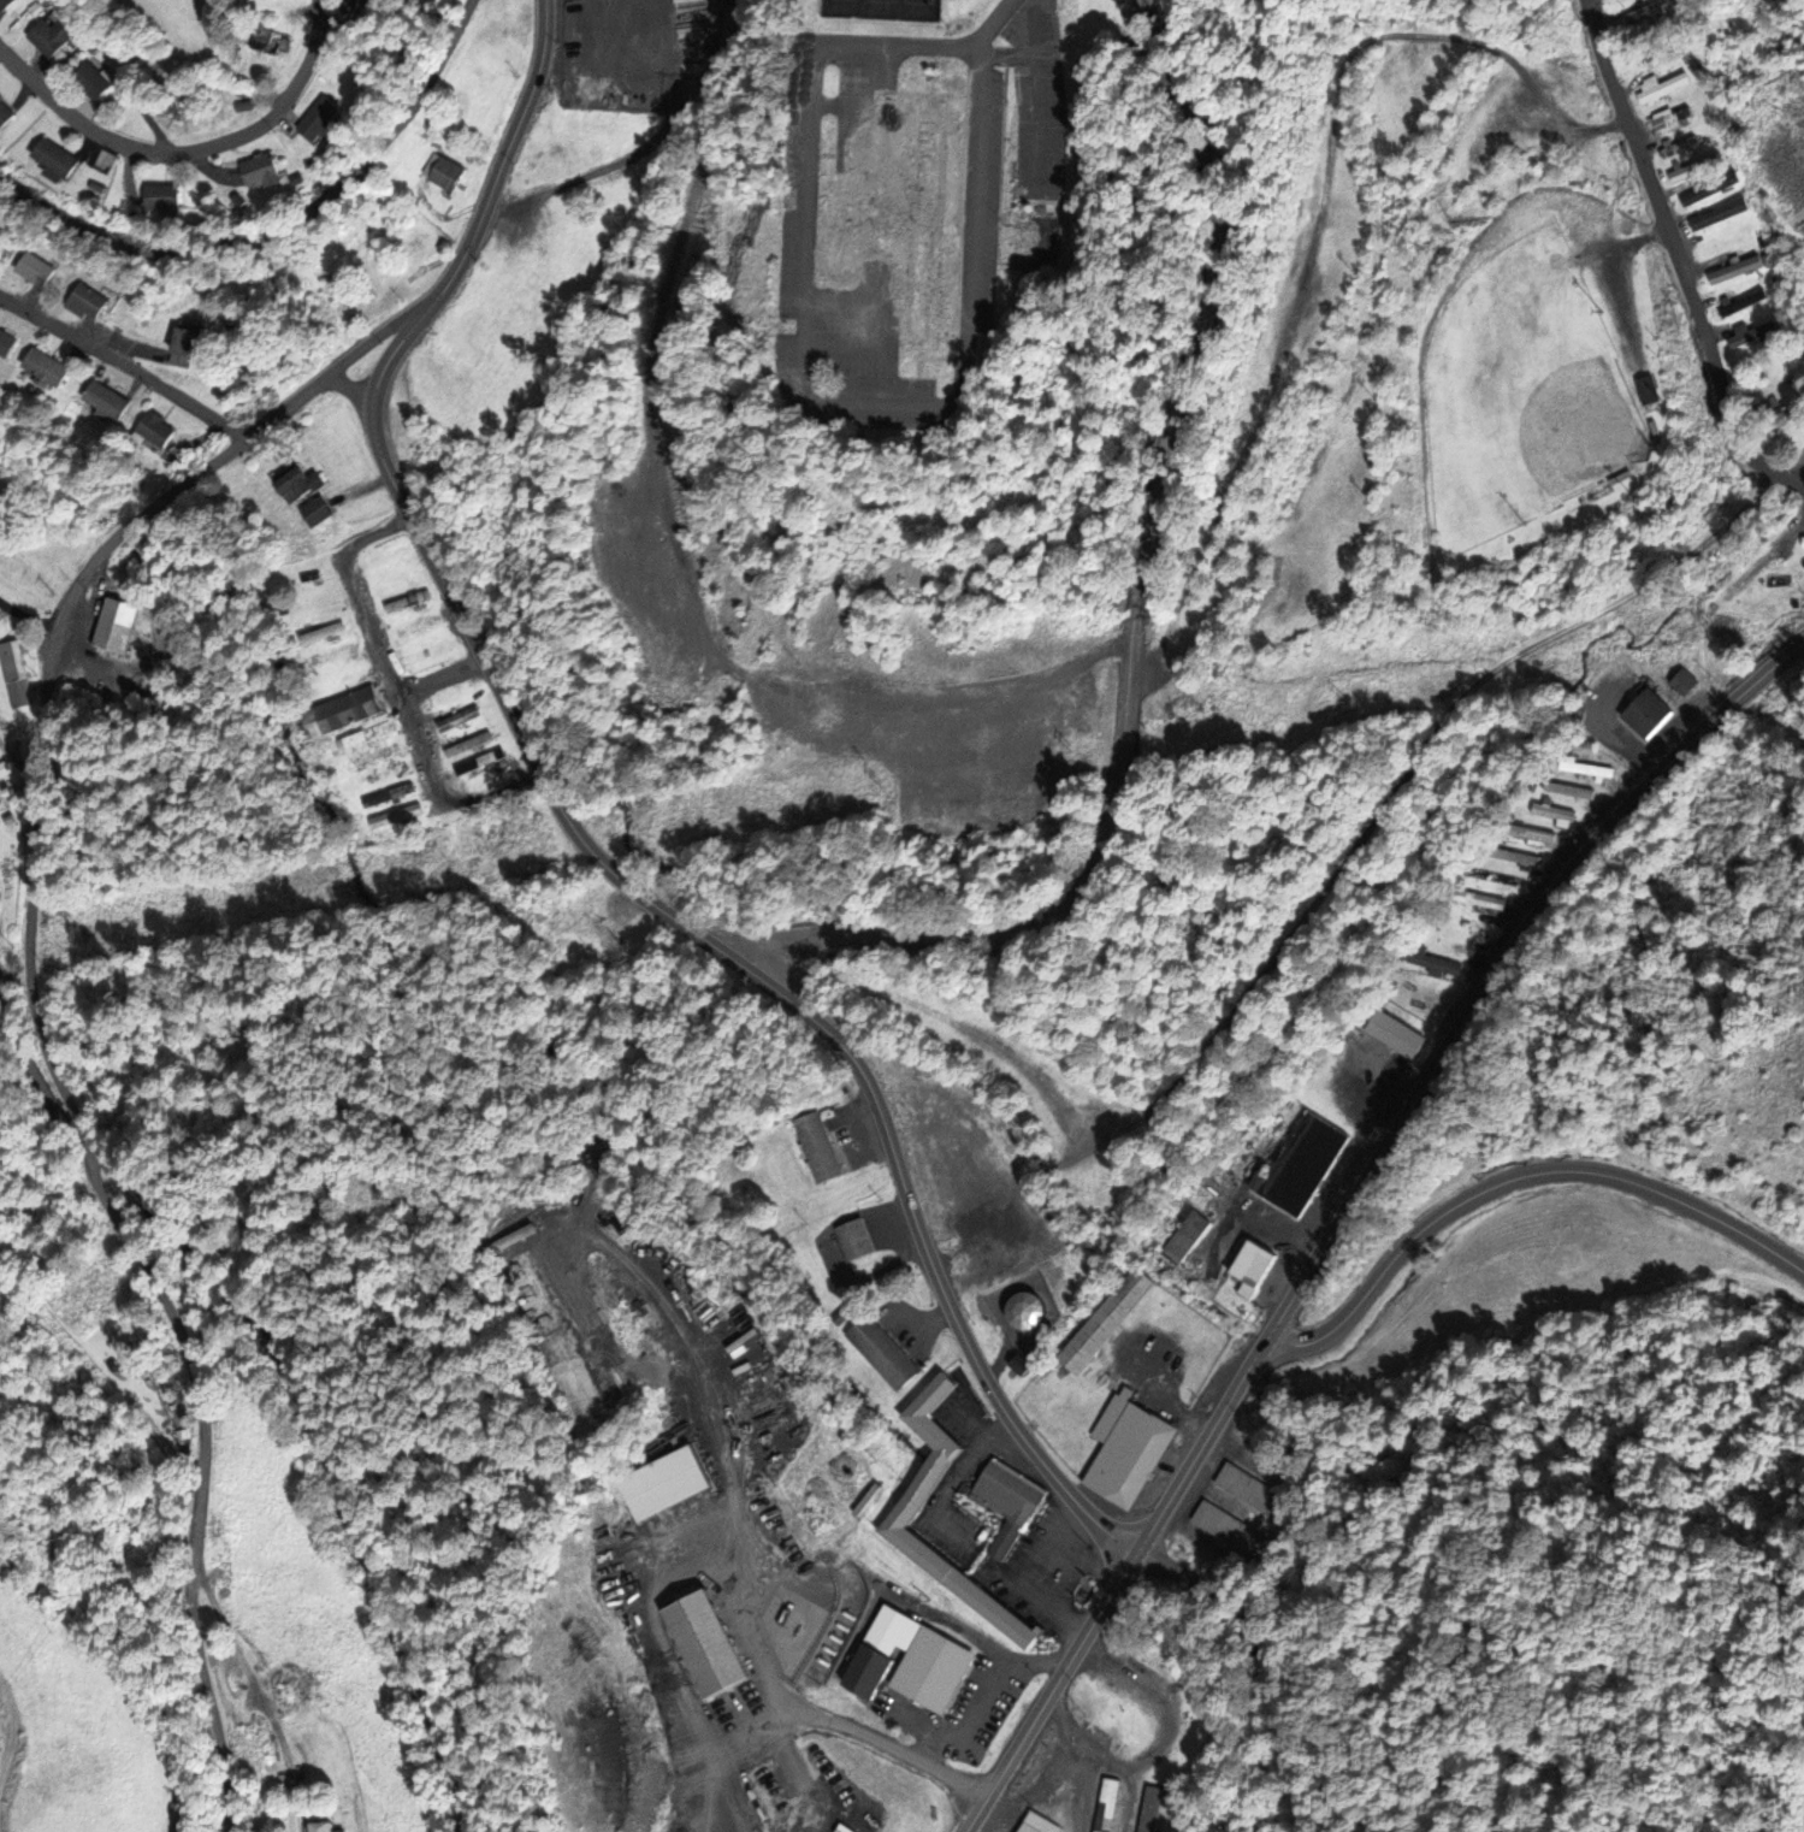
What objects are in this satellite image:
building: (6, 5)
building: (355, 6)
building: (507, 10)
park: (882, 10)
building: (1651, 11)
road: (995, 25)
building: (54, 36)
building: (273, 42)
building: (94, 82)
building: (1664, 87)
building: (5, 116)
building: (1673, 118)
building: (324, 119)
building: (1680, 147)
road: (187, 150)
building: (55, 160)
building: (1696, 169)
building: (264, 171)
building: (449, 176)
building: (1711, 190)
road: (487, 197)
building: (164, 200)
building: (900, 213)
building: (1717, 217)
building: (749, 240)
building: (1723, 244)
road: (1679, 261)
building: (35, 271)
building: (1737, 271)
building: (88, 303)
building: (1744, 305)
building: (1755, 333)
road: (78, 342)
building: (7, 344)
building: (187, 349)
building: (48, 368)
building: (1651, 390)
park: (1522, 398)
building: (110, 401)
road: (966, 402)
road: (201, 409)
building: (1772, 412)
building: (158, 431)
building: (302, 486)
building: (319, 513)
building: (390, 567)
building: (312, 575)
building: (1785, 579)
building: (408, 602)
road: (1134, 604)
power tower: (1710, 625)
building: (117, 627)
building: (419, 628)
building: (323, 634)
building: (430, 652)
building: (337, 656)
building: (16, 675)
building: (1686, 684)
power tower: (1343, 702)
building: (344, 713)
building: (1649, 715)
building: (459, 719)
building: (365, 735)
power tower: (1076, 751)
building: (378, 754)
building: (484, 762)
building: (1587, 770)
building: (4, 772)
building: (390, 772)
power tower: (881, 779)
building: (1571, 791)
building: (1, 794)
building: (390, 796)
building: (1554, 815)
building: (396, 816)
power tower: (732, 827)
building: (1530, 834)
power tower: (453, 862)
building: (1494, 877)
power tower: (312, 893)
building: (1480, 902)
building: (1467, 924)
road: (1305, 926)
power tower: (83, 929)
road: (745, 959)
building: (1435, 965)
building: (1396, 1034)
road: (37, 1036)
building: (818, 1147)
building: (1302, 1165)
road: (1519, 1181)
road: (1350, 1207)
building: (1188, 1234)
building: (854, 1240)
building: (1254, 1269)
building: (1029, 1311)
building: (66, 1312)
building: (1107, 1320)
building: (557, 1352)
building: (883, 1353)
building: (1023, 1365)
building: (1128, 1449)
building: (666, 1483)
building: (923, 1489)
building: (1247, 1489)
building: (1009, 1505)
building: (1228, 1527)
building: (709, 1644)
road: (1272, 1654)
building: (924, 1659)
building: (286, 1685)
building: (1107, 1804)
building: (1151, 1809)
building: (1039, 1824)
building: (324, 1827)

